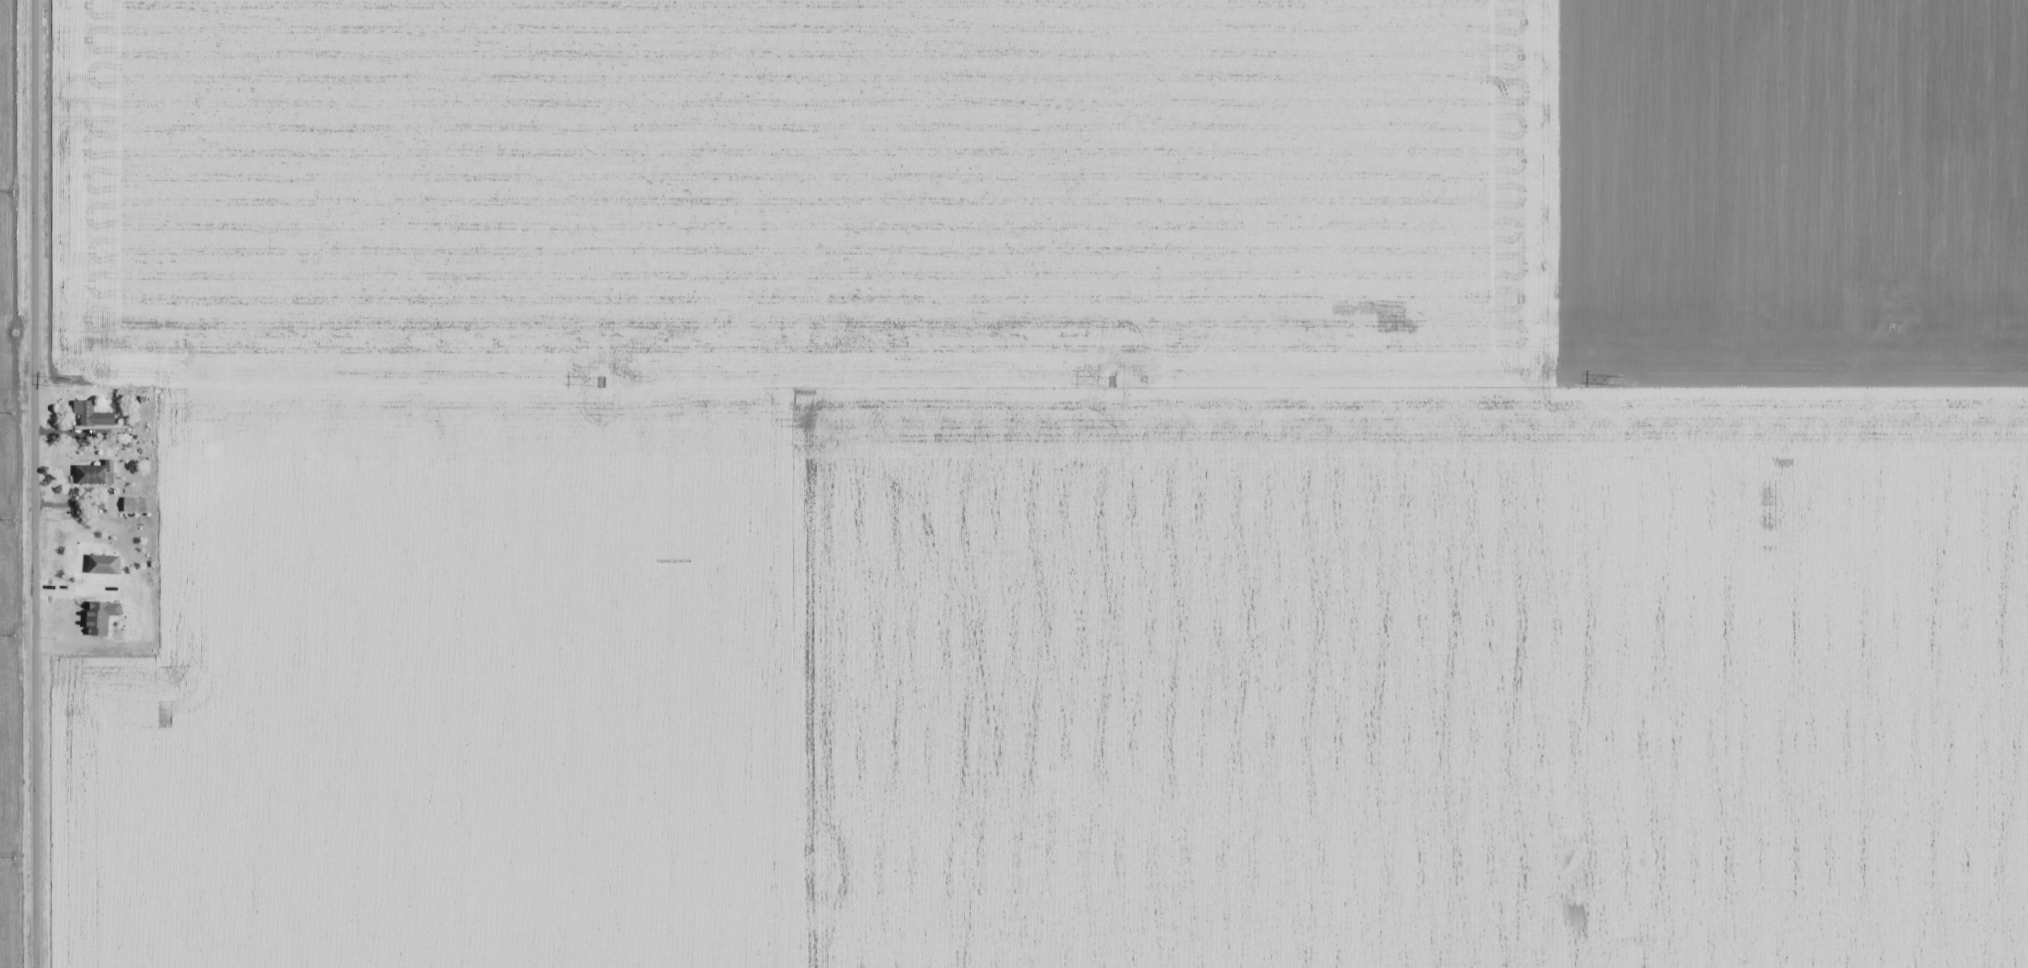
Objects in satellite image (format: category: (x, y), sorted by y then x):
power tower: (1619, 381)
power tower: (1112, 384)
power tower: (73, 385)
power tower: (600, 385)
road: (1786, 386)
building: (84, 412)
building: (92, 477)
road: (32, 484)
building: (134, 504)
building: (105, 566)

